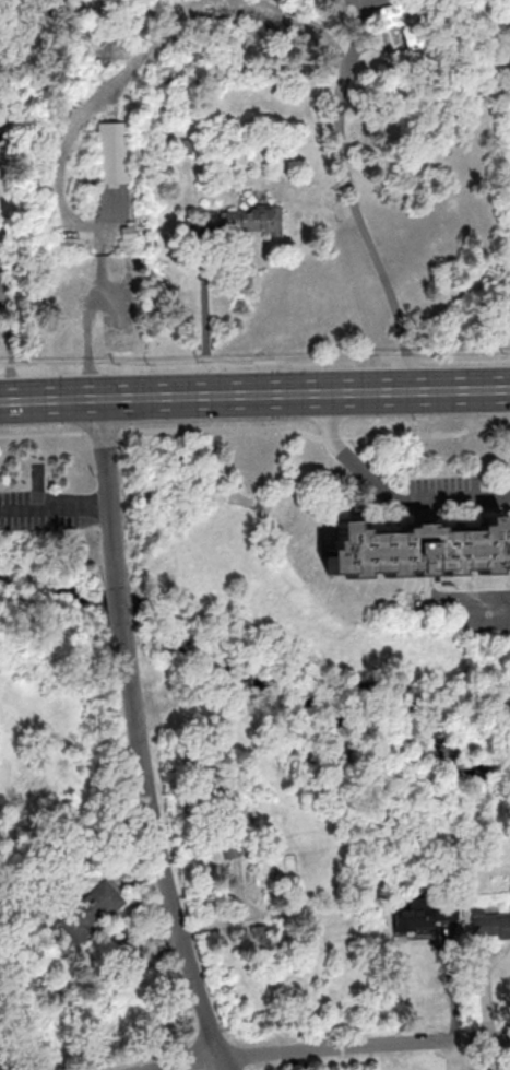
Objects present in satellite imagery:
parking lot: (365, 4)
building: (410, 35)
road: (112, 86)
building: (116, 153)
road: (351, 199)
building: (254, 220)
road: (93, 296)
road: (204, 313)
road: (408, 356)
road: (462, 357)
road: (88, 362)
road: (247, 362)
road: (40, 363)
road: (254, 395)
road: (507, 422)
road: (224, 427)
road: (102, 433)
road: (40, 434)
road: (424, 435)
road: (333, 437)
parking lot: (446, 490)
road: (108, 493)
road: (387, 496)
road: (55, 510)
road: (420, 510)
road: (417, 513)
building: (417, 551)
road: (462, 596)
road: (119, 602)
parking lot: (485, 626)
building: (233, 836)
road: (159, 847)
building: (92, 910)
building: (414, 920)
building: (490, 925)
road: (330, 1048)
road: (7, 1059)

